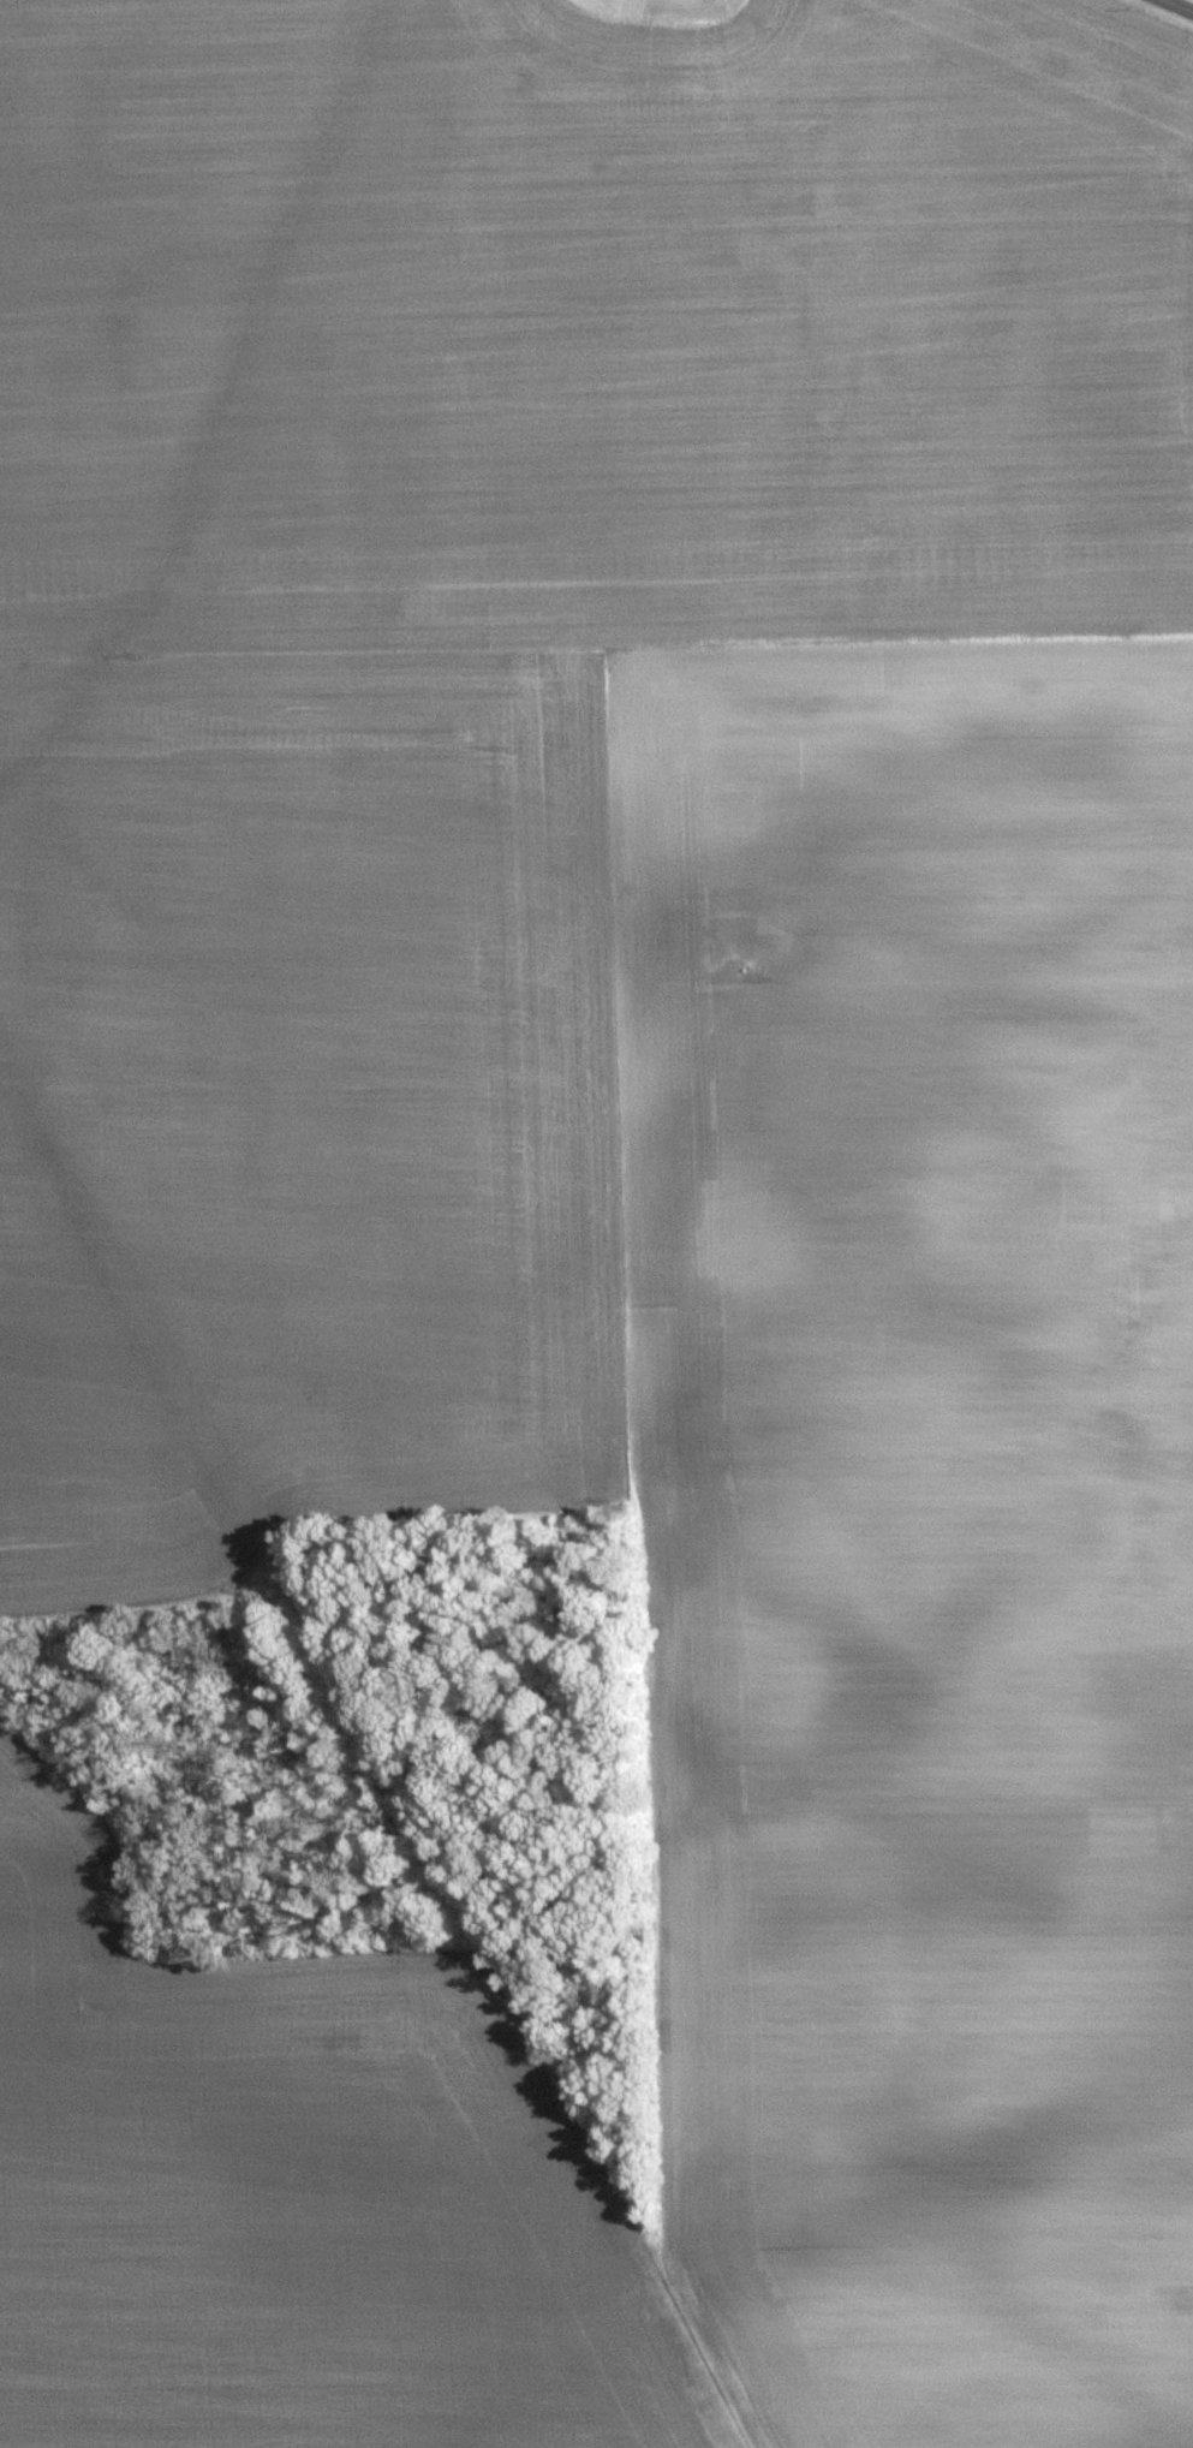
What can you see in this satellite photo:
road: (1176, 6)

